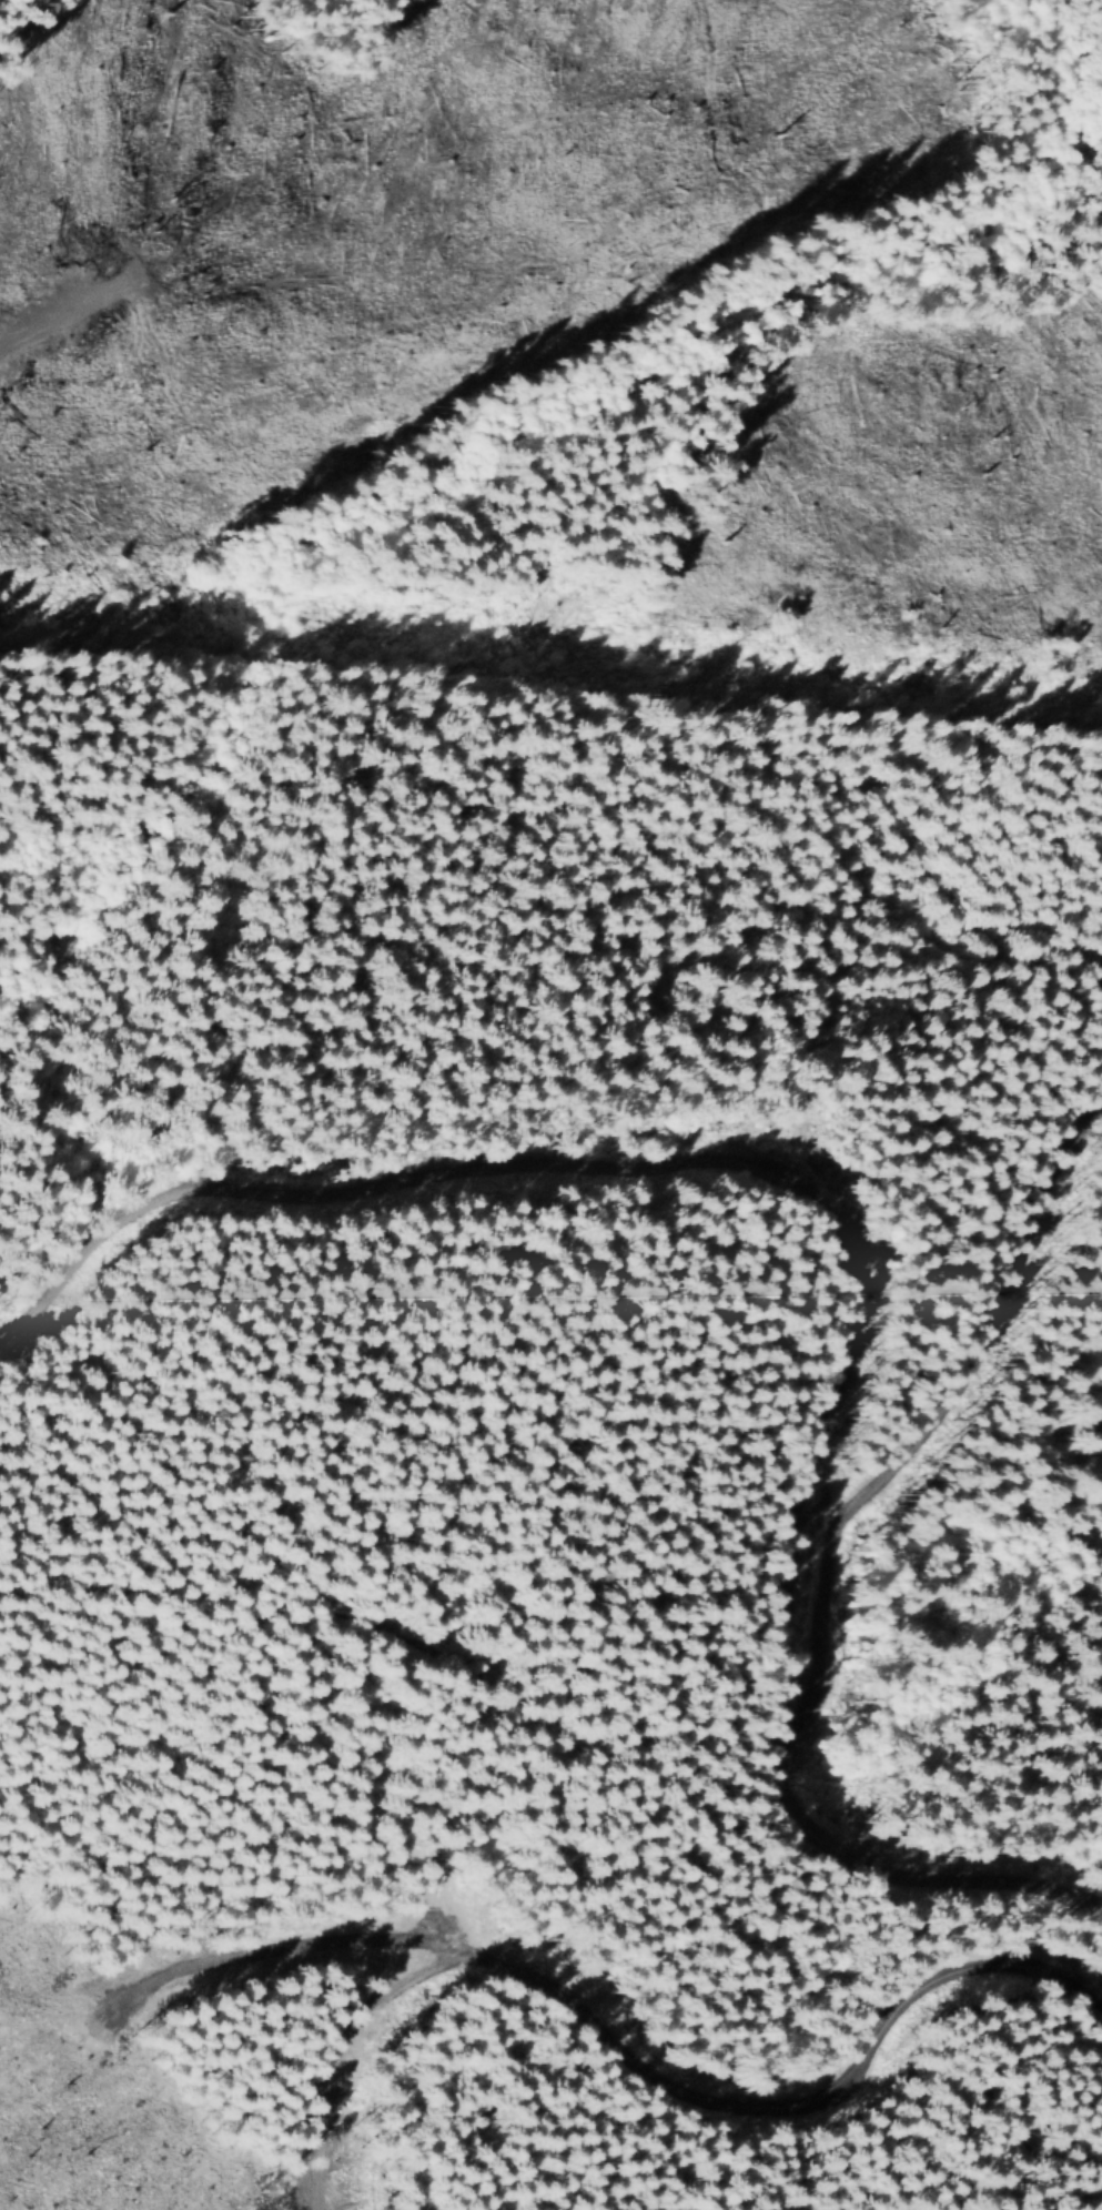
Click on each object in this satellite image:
road: (917, 1440)
road: (762, 1443)

